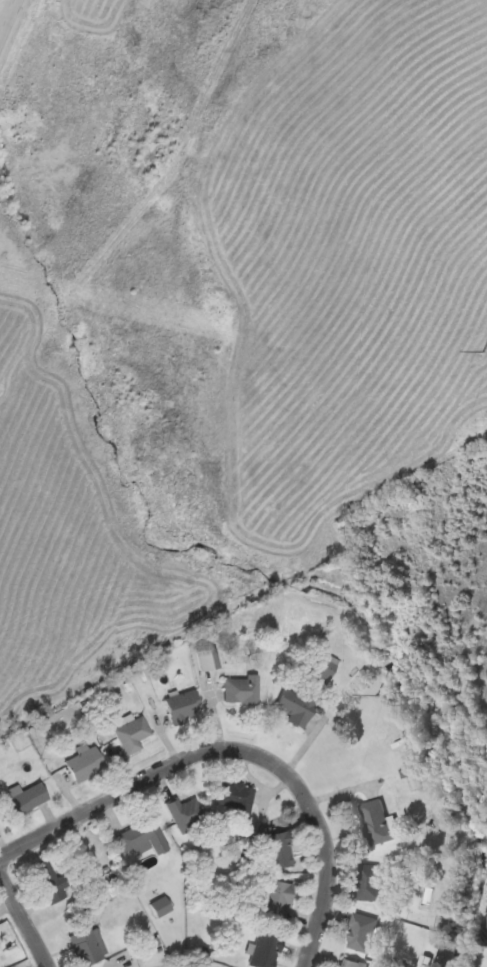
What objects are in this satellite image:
road: (9, 20)
building: (208, 658)
building: (323, 667)
building: (241, 689)
building: (182, 705)
building: (295, 705)
building: (131, 734)
road: (237, 750)
building: (85, 763)
building: (237, 797)
building: (27, 798)
building: (185, 813)
building: (377, 822)
building: (142, 836)
building: (277, 849)
building: (48, 881)
building: (370, 881)
building: (276, 899)
building: (160, 906)
road: (25, 914)
building: (361, 932)
building: (88, 945)
building: (265, 950)
building: (349, 963)

